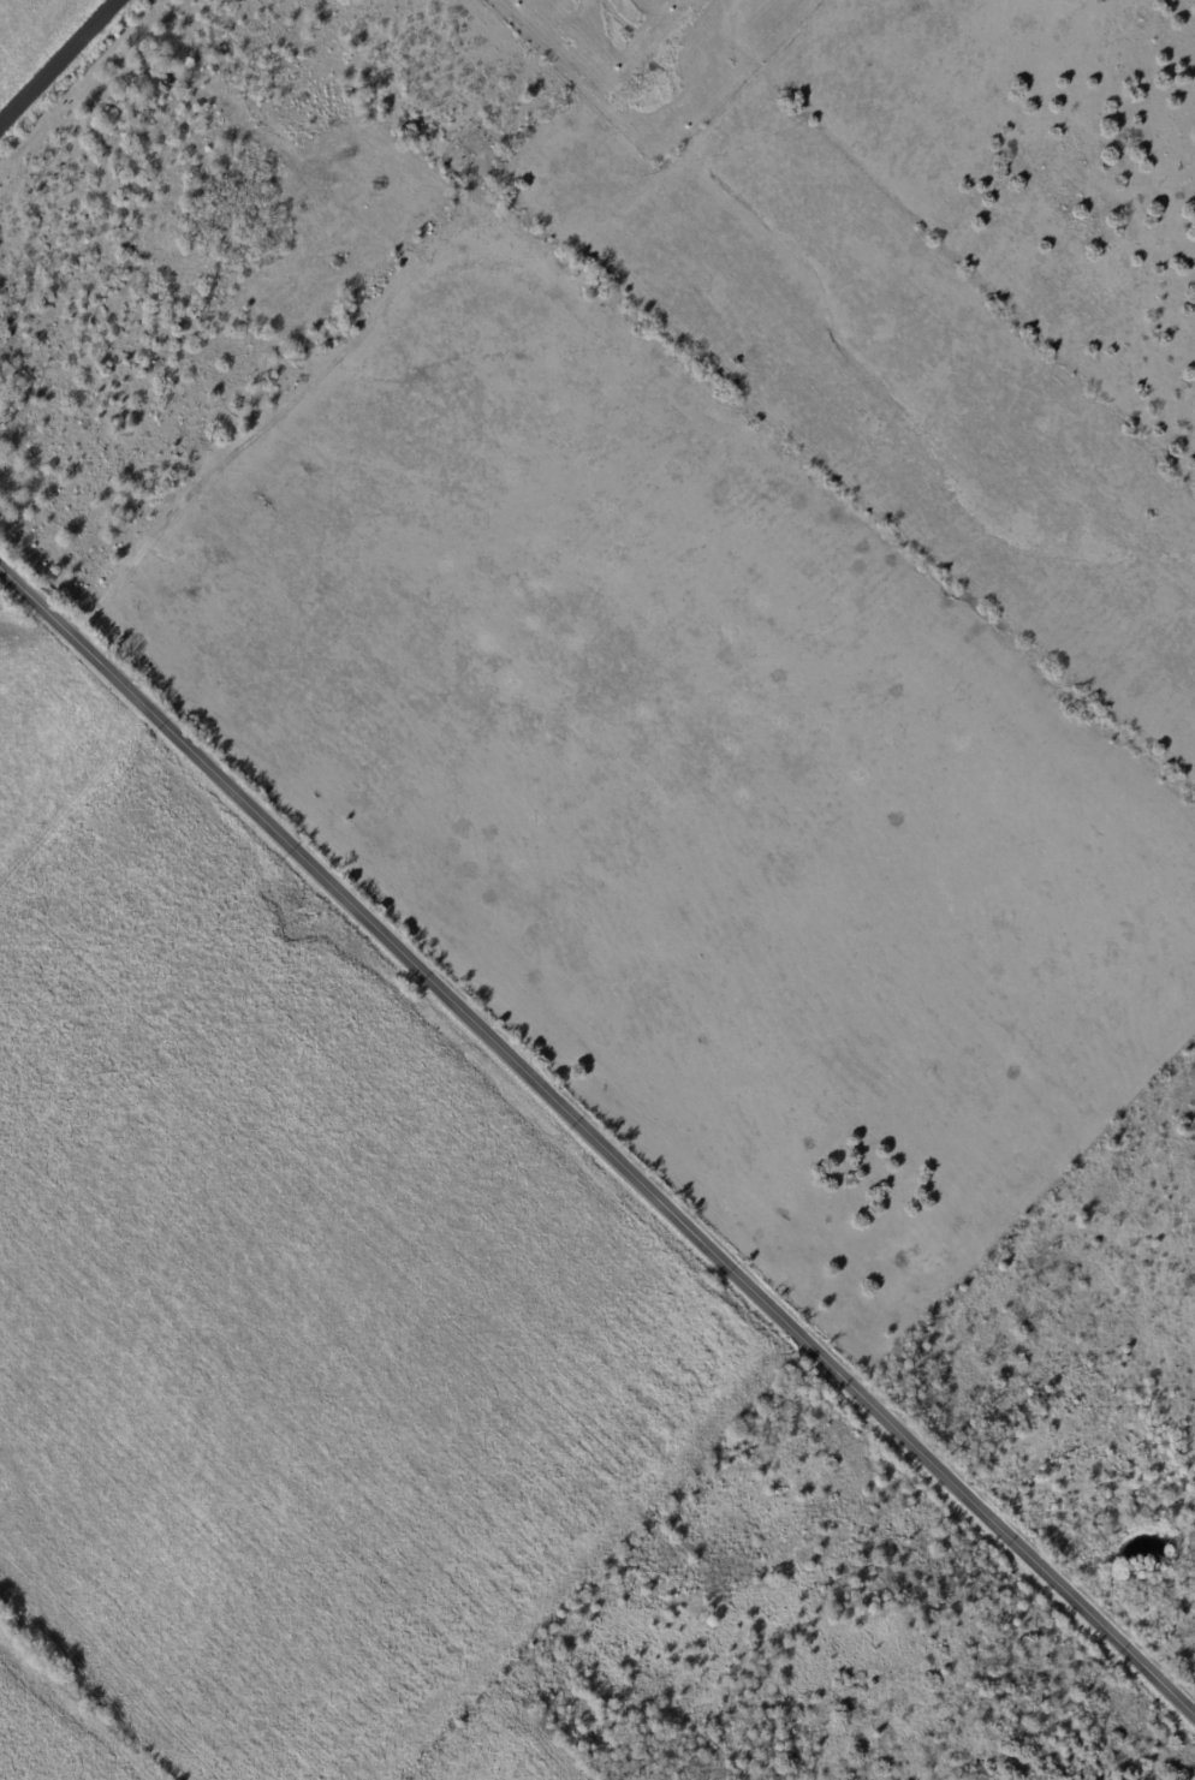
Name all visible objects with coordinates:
road: (59, 61)
building: (160, 85)
building: (255, 163)
building: (201, 197)
road: (599, 1138)
building: (1074, 1399)
building: (1148, 1451)

